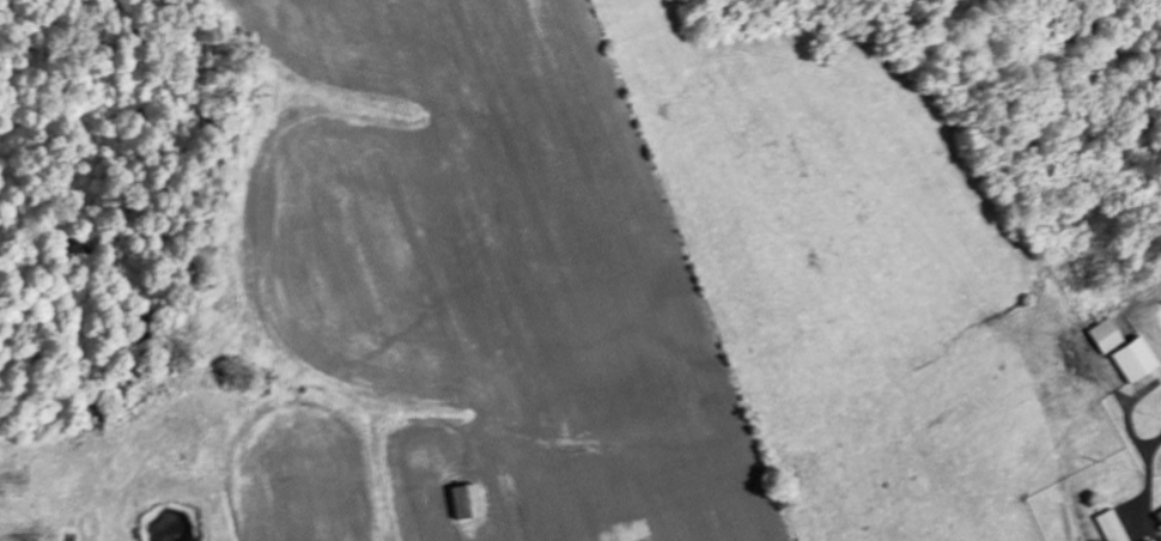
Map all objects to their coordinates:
building: (1122, 351)
building: (462, 502)
building: (1110, 525)

